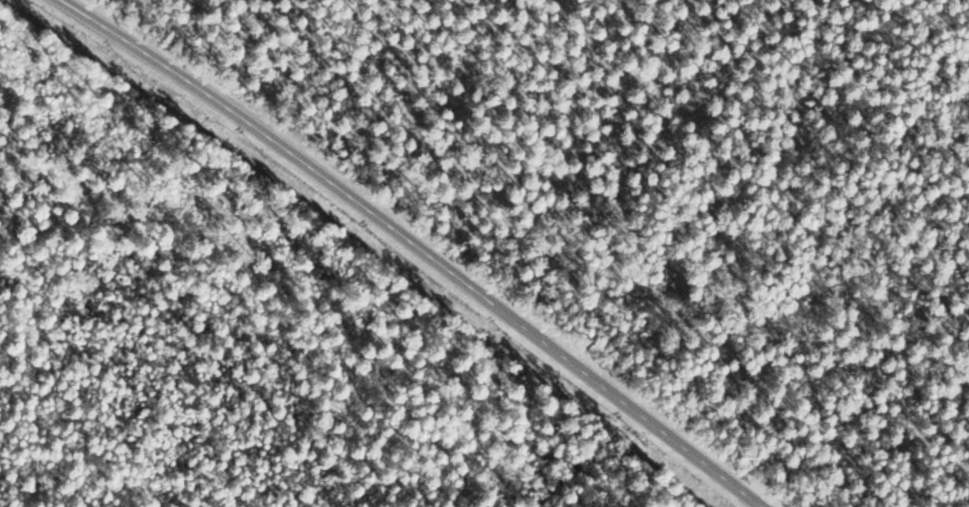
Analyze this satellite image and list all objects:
road: (417, 246)

